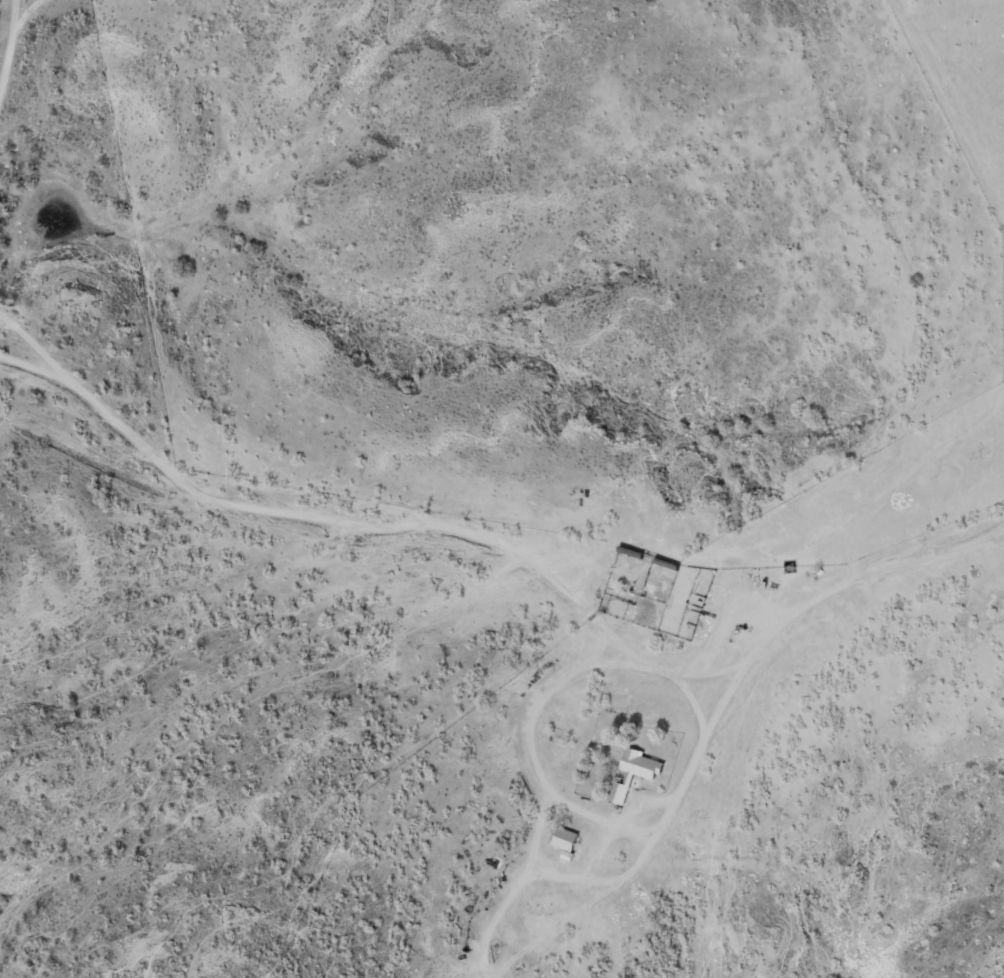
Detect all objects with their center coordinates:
road: (11, 39)
road: (898, 277)
road: (24, 359)
road: (361, 526)
road: (731, 681)
building: (635, 774)
building: (568, 843)

